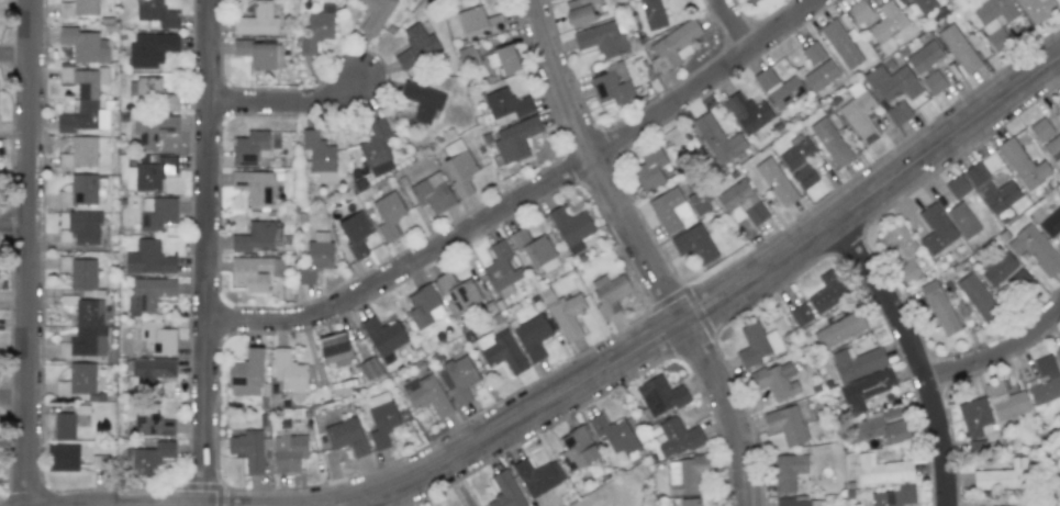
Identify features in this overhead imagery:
building: (750, 1)
building: (924, 5)
building: (79, 8)
building: (1036, 9)
building: (579, 11)
building: (858, 11)
building: (156, 13)
building: (652, 13)
building: (375, 14)
building: (257, 20)
building: (888, 21)
building: (478, 22)
building: (994, 22)
road: (736, 23)
building: (601, 38)
building: (840, 43)
building: (83, 44)
building: (673, 45)
building: (415, 46)
building: (959, 48)
building: (150, 49)
road: (16, 53)
building: (256, 53)
building: (924, 56)
building: (279, 57)
building: (503, 59)
building: (817, 67)
building: (890, 82)
building: (934, 82)
building: (778, 88)
building: (610, 89)
building: (154, 93)
building: (82, 99)
road: (286, 100)
building: (422, 101)
building: (506, 103)
building: (747, 112)
building: (859, 113)
building: (153, 128)
building: (1040, 131)
building: (717, 138)
building: (514, 139)
building: (830, 142)
building: (249, 147)
building: (1052, 147)
building: (376, 148)
building: (317, 151)
building: (796, 151)
building: (79, 153)
road: (598, 164)
building: (1023, 165)
building: (651, 169)
road: (904, 170)
building: (459, 171)
building: (149, 172)
building: (804, 177)
building: (776, 181)
building: (255, 185)
building: (957, 187)
building: (994, 190)
building: (79, 191)
building: (432, 193)
road: (527, 194)
building: (741, 201)
building: (696, 203)
building: (670, 211)
building: (157, 212)
building: (388, 215)
building: (962, 220)
building: (1051, 223)
road: (16, 225)
building: (83, 227)
building: (570, 228)
building: (935, 229)
building: (354, 234)
building: (254, 237)
building: (896, 241)
building: (694, 244)
building: (1035, 249)
building: (535, 250)
road: (33, 252)
road: (212, 252)
building: (315, 257)
building: (148, 258)
building: (500, 267)
building: (998, 269)
building: (79, 271)
building: (254, 272)
building: (908, 272)
building: (1017, 281)
building: (148, 293)
building: (459, 293)
building: (609, 293)
building: (826, 293)
building: (978, 299)
road: (716, 300)
building: (422, 306)
building: (939, 307)
building: (800, 314)
building: (567, 315)
building: (838, 329)
building: (383, 335)
building: (532, 336)
building: (157, 337)
building: (757, 344)
road: (996, 348)
building: (334, 349)
building: (504, 351)
building: (1057, 352)
road: (915, 356)
building: (859, 362)
building: (367, 369)
building: (150, 373)
building: (290, 373)
building: (245, 374)
building: (78, 380)
building: (458, 380)
building: (776, 381)
building: (1045, 381)
building: (864, 390)
road: (16, 393)
building: (426, 394)
building: (660, 395)
building: (1005, 403)
road: (732, 407)
building: (975, 417)
road: (511, 423)
building: (152, 424)
building: (784, 424)
building: (64, 426)
building: (879, 427)
building: (614, 435)
building: (346, 437)
building: (677, 437)
building: (247, 449)
building: (577, 449)
building: (288, 453)
building: (63, 458)
building: (147, 458)
building: (882, 470)
building: (788, 471)
building: (685, 474)
building: (537, 476)
building: (1002, 476)
building: (505, 491)
building: (894, 496)
building: (796, 502)

